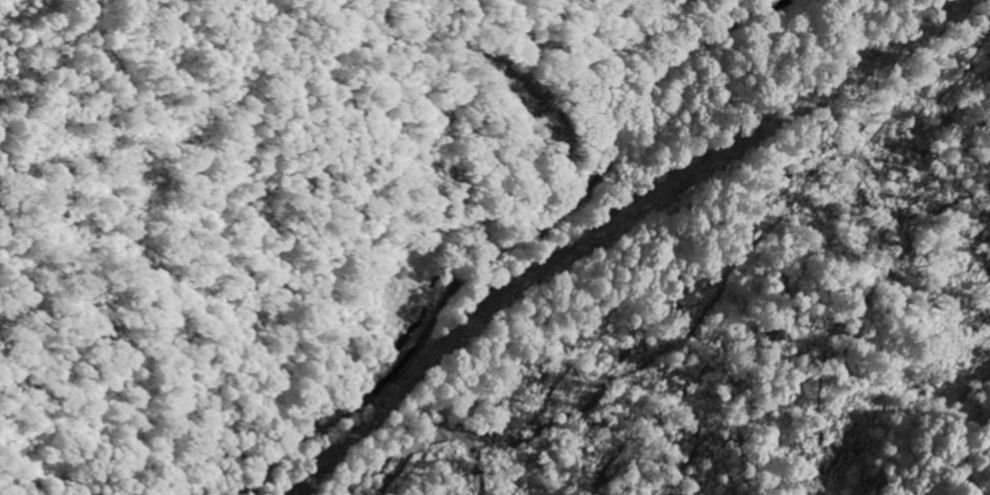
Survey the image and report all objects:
road: (517, 239)

